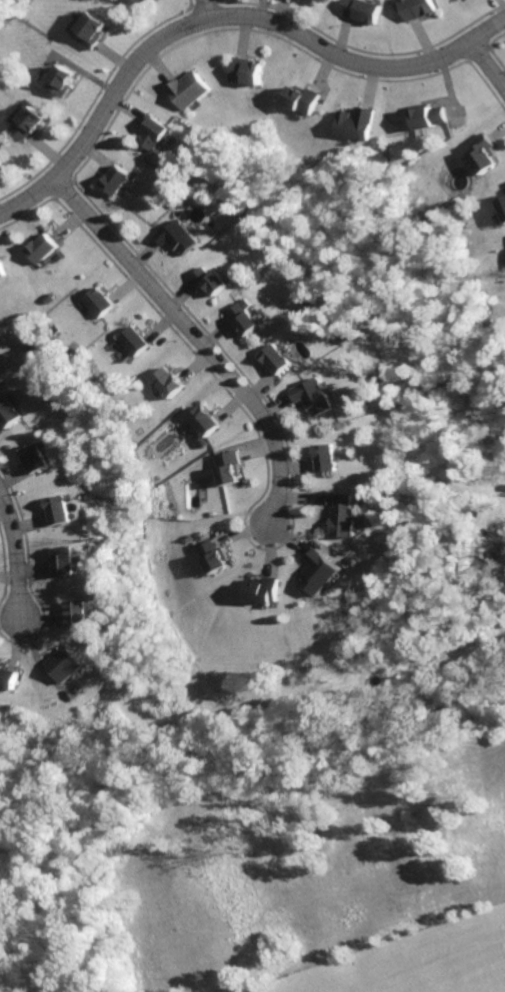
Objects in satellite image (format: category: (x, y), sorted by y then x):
building: (144, 2)
building: (424, 9)
road: (204, 10)
building: (368, 10)
road: (219, 19)
building: (93, 32)
road: (490, 68)
building: (249, 71)
building: (64, 83)
building: (189, 91)
building: (304, 100)
building: (430, 117)
building: (358, 123)
building: (30, 124)
building: (156, 133)
building: (484, 155)
building: (2, 165)
building: (119, 181)
building: (503, 203)
building: (181, 237)
building: (42, 251)
building: (2, 273)
building: (212, 280)
building: (100, 305)
building: (249, 323)
road: (186, 342)
building: (135, 343)
building: (281, 359)
building: (167, 383)
building: (318, 397)
building: (7, 415)
building: (203, 421)
building: (329, 459)
building: (35, 461)
building: (228, 466)
building: (57, 512)
building: (345, 515)
building: (213, 556)
road: (10, 560)
building: (64, 562)
building: (321, 575)
building: (265, 591)
building: (79, 616)
building: (63, 664)
road: (44, 672)
building: (10, 678)
crop: (326, 879)

